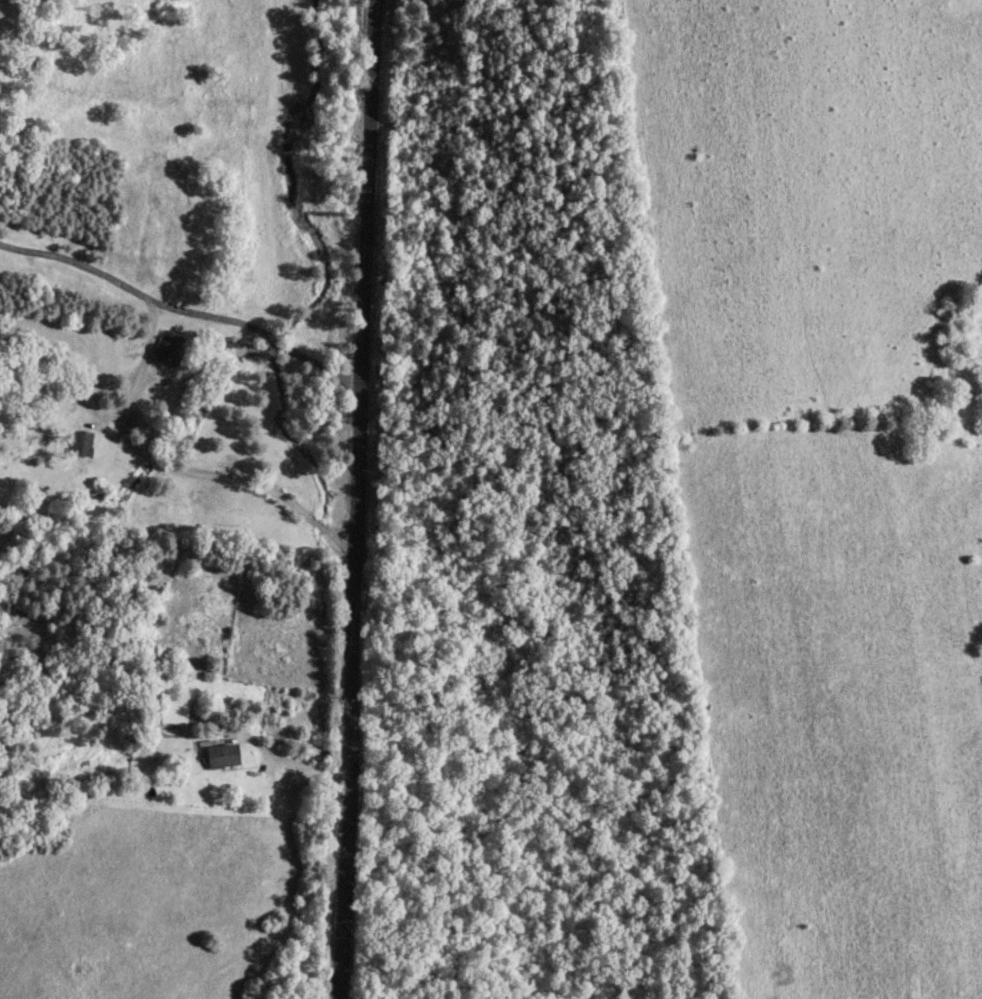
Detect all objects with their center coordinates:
road: (77, 265)
building: (170, 345)
road: (134, 389)
building: (82, 441)
road: (353, 499)
building: (173, 708)
building: (222, 754)
road: (290, 761)

